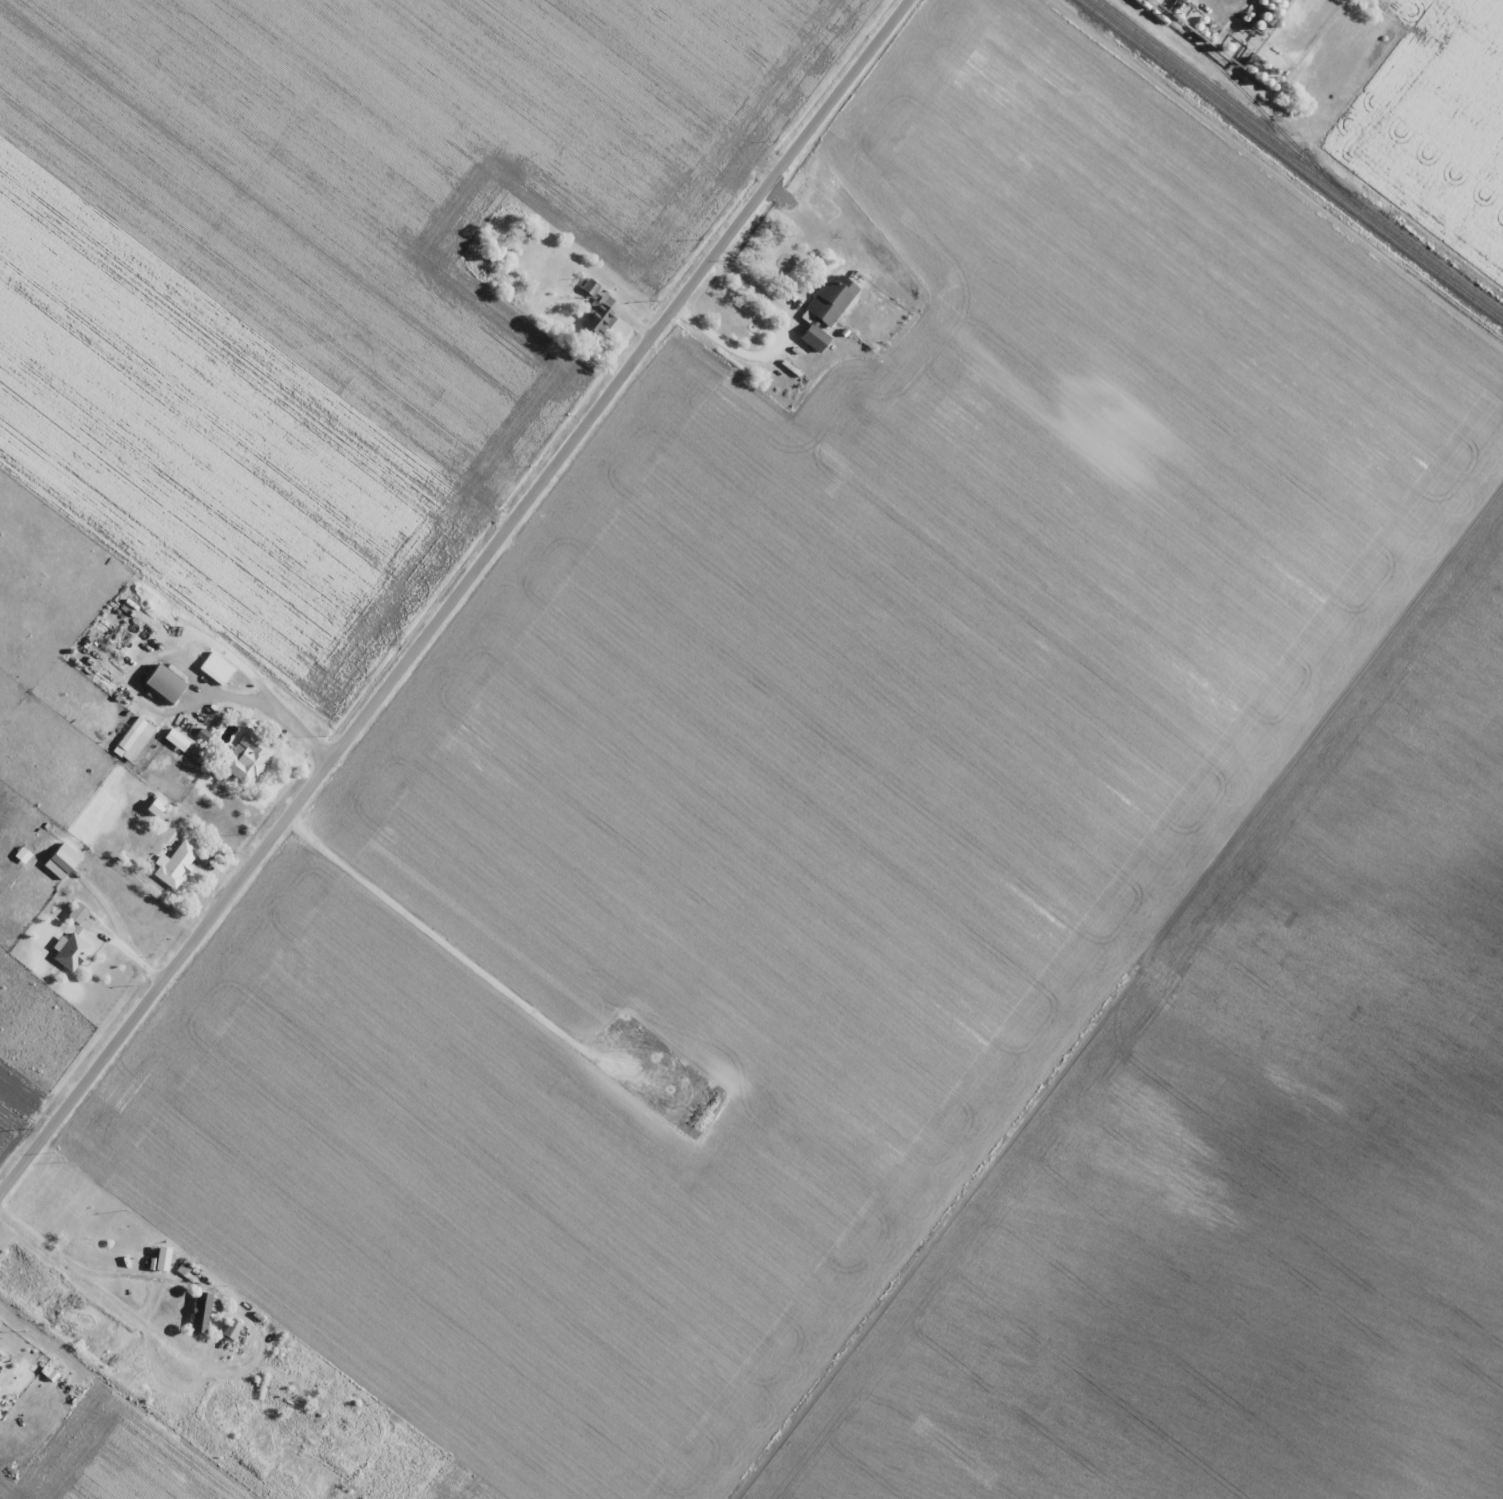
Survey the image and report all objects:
road: (1143, 65)
railway: (1234, 81)
crop: (1435, 128)
railway: (1297, 157)
railway: (1290, 162)
crop: (319, 306)
building: (826, 309)
building: (598, 316)
road: (781, 345)
road: (459, 597)
building: (216, 667)
building: (164, 683)
building: (133, 739)
building: (246, 757)
building: (60, 861)
building: (176, 863)
crop: (927, 887)
building: (77, 913)
road: (126, 951)
building: (71, 952)
crop: (33, 1045)
road: (95, 1287)
building: (202, 1311)
building: (230, 1330)
crop: (123, 1460)

